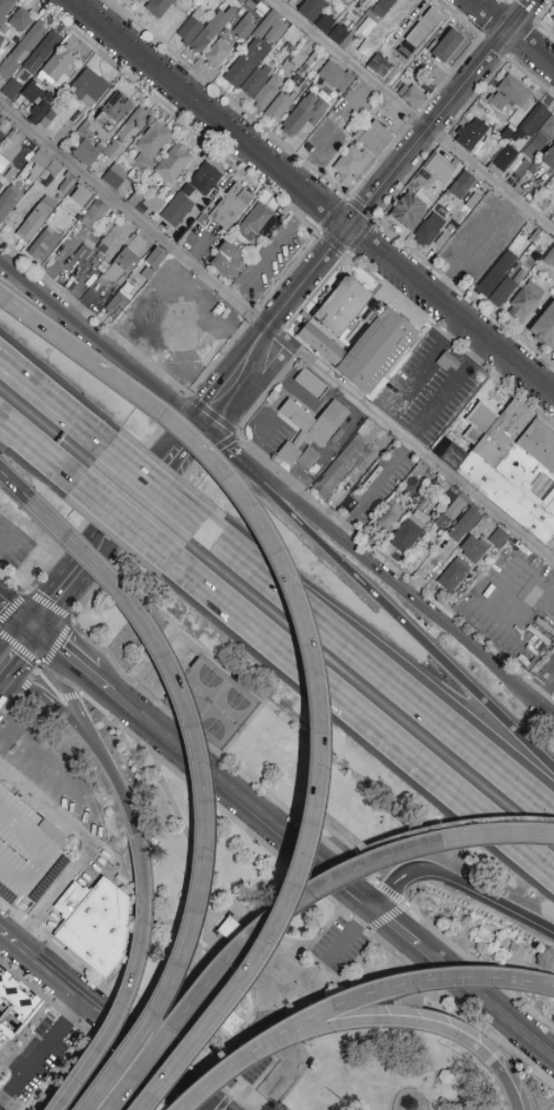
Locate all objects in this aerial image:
building: (327, 0)
building: (131, 1)
building: (140, 1)
building: (239, 2)
building: (247, 6)
building: (384, 6)
building: (159, 7)
building: (312, 9)
building: (240, 12)
building: (4, 13)
building: (198, 14)
building: (553, 19)
building: (21, 20)
building: (326, 23)
building: (245, 28)
building: (211, 30)
building: (422, 30)
building: (189, 31)
road: (512, 33)
building: (338, 34)
building: (1, 40)
building: (10, 45)
building: (444, 46)
building: (287, 47)
building: (257, 48)
building: (21, 52)
building: (217, 53)
building: (403, 54)
building: (40, 56)
building: (314, 61)
building: (291, 64)
building: (379, 66)
building: (57, 68)
building: (337, 76)
building: (296, 80)
building: (256, 81)
building: (88, 88)
building: (11, 89)
building: (514, 91)
building: (33, 92)
building: (265, 95)
building: (412, 97)
building: (497, 101)
building: (280, 106)
building: (113, 111)
building: (39, 112)
building: (306, 113)
road: (416, 113)
building: (51, 117)
building: (76, 119)
building: (532, 122)
building: (45, 123)
building: (135, 123)
building: (83, 129)
building: (1, 135)
building: (467, 137)
building: (374, 138)
building: (153, 140)
building: (540, 140)
building: (113, 151)
building: (87, 153)
building: (547, 160)
building: (502, 161)
building: (173, 163)
building: (39, 164)
building: (351, 164)
building: (442, 165)
building: (522, 167)
building: (533, 168)
building: (2, 170)
building: (140, 171)
building: (50, 173)
building: (10, 175)
building: (207, 179)
building: (421, 182)
building: (67, 183)
building: (461, 186)
building: (187, 191)
building: (423, 191)
building: (83, 197)
building: (135, 198)
road: (312, 198)
building: (9, 202)
building: (153, 203)
building: (471, 204)
building: (231, 207)
road: (361, 208)
building: (177, 210)
building: (409, 210)
building: (442, 211)
building: (95, 215)
building: (203, 219)
building: (36, 220)
building: (254, 221)
building: (428, 229)
building: (113, 238)
building: (44, 244)
road: (270, 247)
building: (86, 250)
building: (550, 258)
building: (126, 259)
building: (155, 259)
building: (228, 261)
building: (100, 262)
road: (291, 265)
building: (496, 274)
building: (121, 281)
building: (506, 289)
building: (525, 302)
building: (118, 304)
road: (408, 306)
building: (544, 327)
road: (45, 330)
road: (275, 334)
building: (357, 334)
road: (98, 341)
road: (425, 361)
road: (453, 383)
building: (311, 384)
parking lot: (428, 387)
road: (195, 402)
road: (51, 405)
traffic signals: (198, 422)
building: (312, 427)
road: (218, 440)
road: (36, 450)
road: (207, 457)
building: (355, 458)
building: (511, 465)
building: (421, 470)
road: (14, 487)
road: (372, 489)
road: (153, 490)
building: (344, 490)
building: (421, 503)
building: (349, 505)
building: (453, 510)
road: (86, 519)
building: (387, 519)
road: (120, 521)
road: (112, 523)
building: (464, 524)
building: (408, 532)
road: (358, 534)
road: (134, 536)
building: (499, 538)
building: (472, 549)
building: (553, 549)
building: (453, 575)
road: (399, 588)
road: (397, 612)
road: (13, 614)
road: (302, 623)
road: (66, 624)
traffic signals: (26, 625)
road: (12, 641)
road: (33, 671)
road: (56, 674)
road: (379, 676)
road: (47, 683)
road: (22, 685)
road: (543, 688)
park: (195, 693)
road: (69, 694)
road: (44, 696)
road: (8, 699)
park: (224, 717)
road: (360, 719)
road: (187, 723)
road: (47, 804)
road: (126, 804)
road: (291, 840)
road: (380, 844)
building: (26, 852)
parking lot: (26, 852)
road: (344, 859)
road: (298, 872)
park: (284, 879)
road: (460, 884)
road: (316, 886)
road: (55, 895)
road: (292, 907)
building: (94, 925)
road: (348, 934)
road: (415, 983)
building: (12, 1003)
road: (126, 1006)
road: (123, 1010)
road: (106, 1019)
building: (226, 1021)
road: (395, 1024)
road: (41, 1052)
road: (131, 1053)
road: (231, 1068)
road: (165, 1080)
road: (508, 1086)
road: (210, 1107)
road: (217, 1107)

